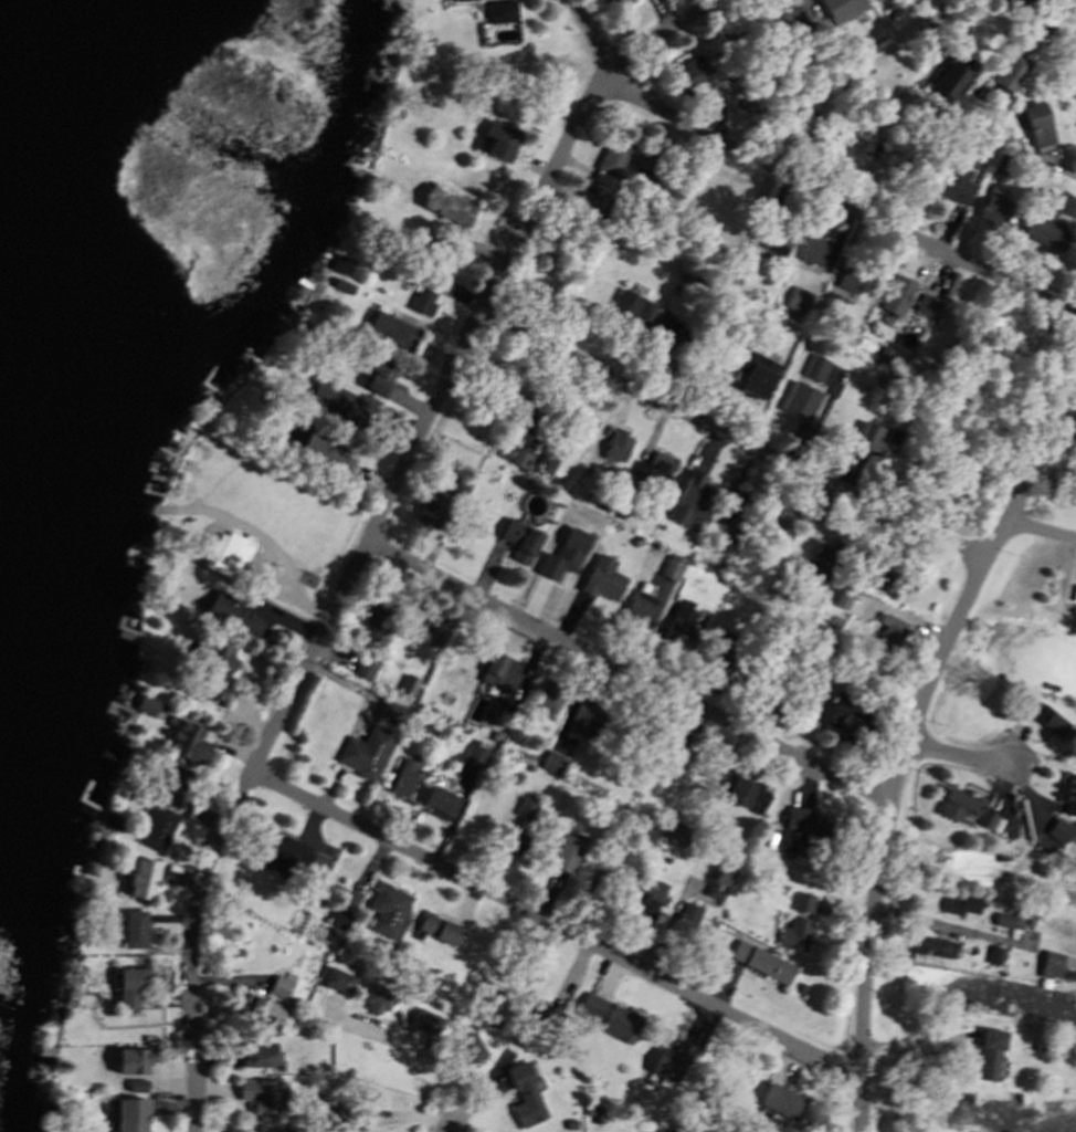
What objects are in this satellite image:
building: (453, 0)
building: (619, 2)
building: (842, 9)
building: (500, 11)
building: (783, 20)
road: (1047, 23)
building: (926, 28)
building: (816, 31)
building: (864, 39)
building: (748, 46)
building: (688, 67)
building: (1010, 71)
building: (838, 81)
building: (956, 84)
building: (907, 104)
building: (918, 111)
building: (790, 114)
building: (1036, 124)
building: (499, 133)
building: (846, 139)
building: (1013, 141)
building: (608, 161)
building: (999, 163)
building: (648, 167)
building: (905, 167)
road: (795, 182)
building: (950, 182)
building: (586, 202)
building: (449, 205)
building: (992, 208)
building: (732, 219)
building: (1044, 220)
building: (779, 237)
building: (435, 248)
building: (813, 250)
building: (562, 255)
building: (745, 263)
building: (350, 266)
building: (850, 274)
building: (342, 284)
building: (896, 295)
building: (797, 298)
building: (831, 302)
building: (429, 304)
building: (925, 304)
building: (622, 308)
building: (645, 310)
building: (391, 331)
building: (663, 331)
building: (882, 353)
building: (813, 366)
building: (373, 374)
building: (757, 376)
building: (908, 388)
building: (871, 391)
building: (799, 400)
building: (349, 407)
building: (524, 413)
building: (587, 429)
road: (730, 438)
building: (873, 440)
building: (615, 446)
building: (324, 448)
building: (498, 452)
building: (518, 457)
building: (548, 468)
building: (651, 469)
building: (457, 485)
building: (694, 502)
building: (430, 507)
building: (729, 512)
building: (779, 524)
road: (1037, 530)
road: (378, 532)
building: (518, 539)
building: (635, 541)
building: (230, 556)
building: (567, 556)
building: (823, 556)
building: (669, 566)
building: (727, 568)
building: (600, 577)
building: (887, 580)
building: (769, 591)
building: (841, 593)
building: (781, 594)
building: (637, 608)
building: (381, 611)
building: (232, 614)
road: (651, 621)
building: (679, 626)
building: (837, 628)
building: (425, 632)
building: (893, 637)
building: (819, 644)
building: (724, 653)
building: (213, 665)
building: (361, 669)
building: (499, 671)
road: (630, 672)
building: (715, 680)
building: (760, 685)
building: (407, 688)
building: (541, 698)
building: (152, 704)
building: (394, 713)
building: (495, 713)
building: (842, 715)
building: (586, 716)
building: (1046, 719)
road: (917, 724)
building: (420, 725)
building: (492, 735)
building: (1066, 737)
building: (189, 742)
building: (368, 753)
building: (660, 753)
building: (473, 755)
road: (959, 755)
building: (551, 762)
building: (402, 777)
building: (178, 780)
building: (641, 780)
building: (738, 790)
building: (1069, 795)
building: (180, 799)
building: (439, 799)
building: (956, 806)
building: (524, 808)
building: (1014, 810)
building: (797, 818)
building: (985, 820)
building: (112, 821)
building: (155, 826)
building: (1057, 830)
building: (817, 841)
building: (516, 843)
building: (612, 847)
building: (276, 849)
building: (783, 851)
building: (567, 857)
building: (660, 859)
building: (317, 863)
building: (141, 878)
building: (595, 882)
building: (713, 891)
building: (648, 900)
building: (800, 903)
building: (961, 903)
building: (386, 909)
building: (1043, 910)
building: (339, 914)
building: (1003, 919)
building: (685, 920)
building: (1017, 921)
road: (555, 924)
building: (134, 927)
building: (436, 927)
road: (949, 929)
building: (792, 933)
building: (460, 940)
building: (930, 945)
building: (995, 954)
building: (403, 961)
building: (759, 961)
building: (1054, 963)
building: (335, 981)
building: (129, 984)
building: (277, 986)
building: (798, 987)
building: (378, 997)
building: (589, 1006)
building: (256, 1012)
building: (541, 1015)
building: (424, 1020)
building: (621, 1020)
building: (519, 1035)
building: (1040, 1046)
building: (467, 1047)
building: (255, 1052)
building: (989, 1052)
road: (418, 1054)
building: (133, 1059)
building: (673, 1059)
building: (136, 1084)
building: (259, 1093)
building: (523, 1094)
building: (780, 1101)
building: (586, 1109)
building: (597, 1113)
building: (130, 1114)
building: (344, 1119)
building: (569, 1123)
building: (288, 1128)

